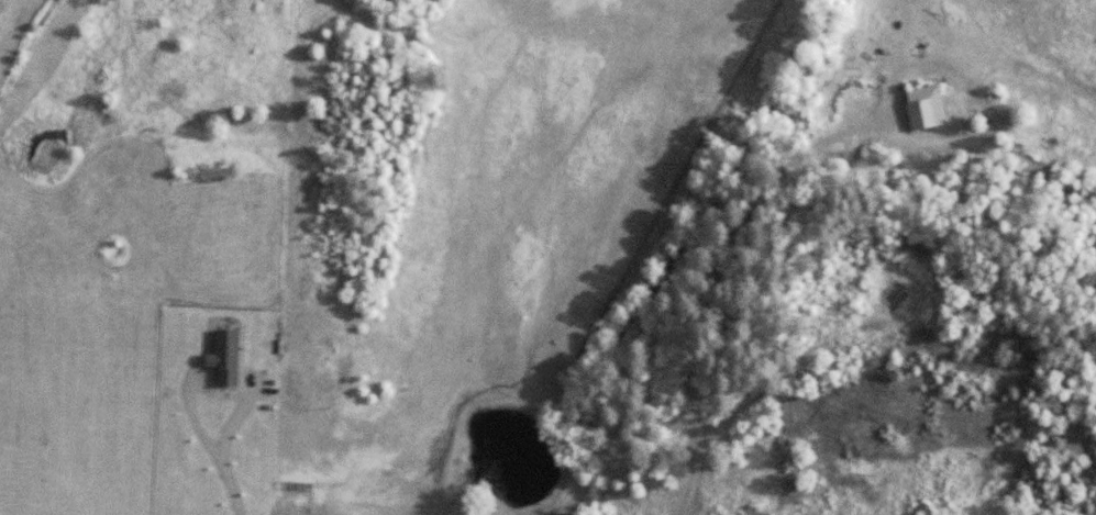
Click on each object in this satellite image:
building: (928, 107)

